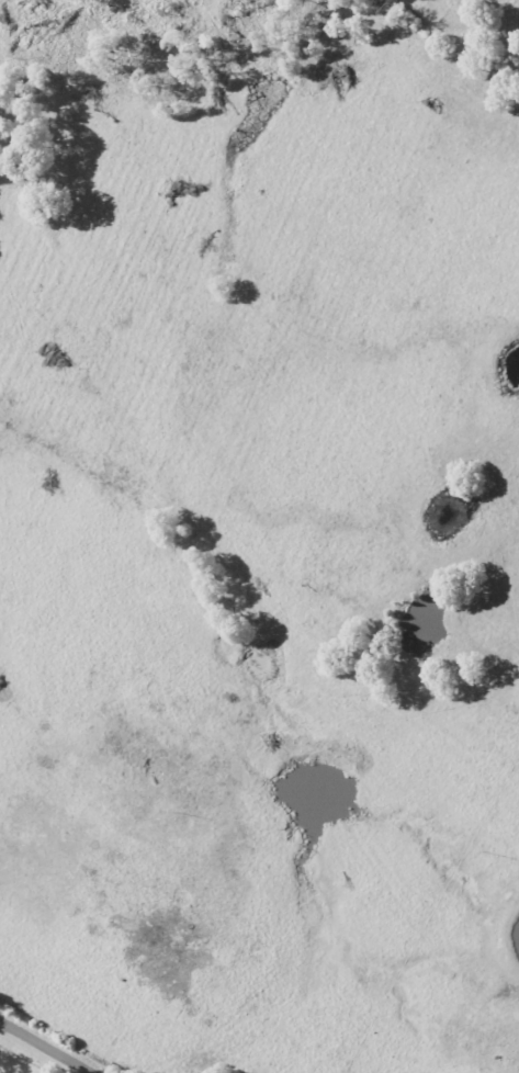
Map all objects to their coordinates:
road: (47, 1047)

